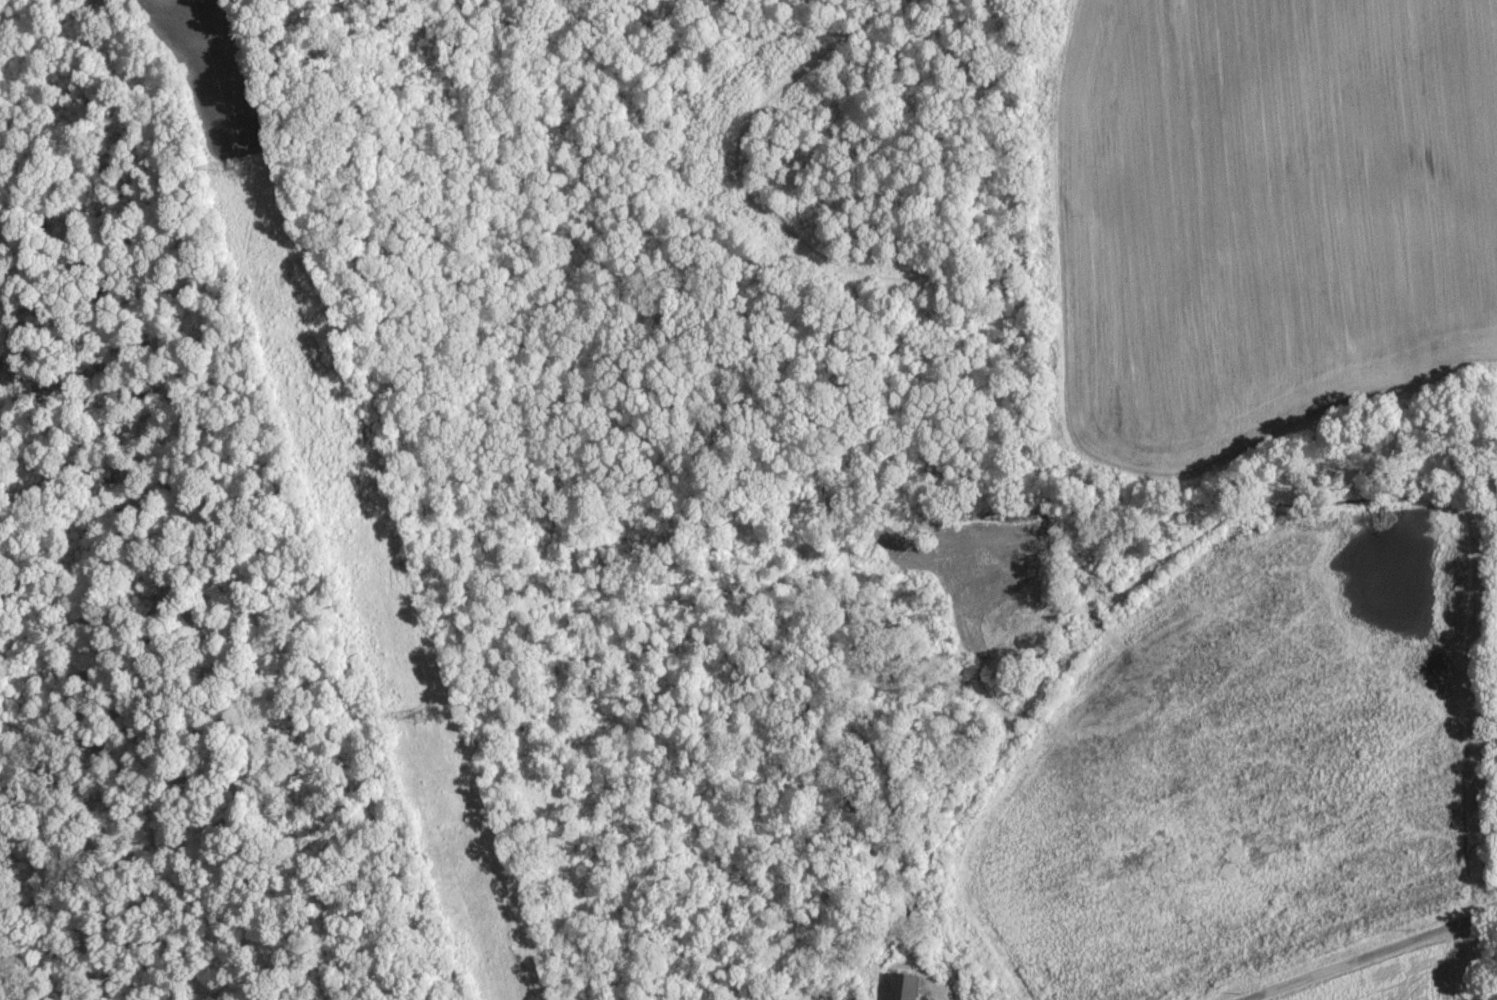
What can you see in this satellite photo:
power tower: (398, 708)
road: (1366, 952)
building: (897, 987)

